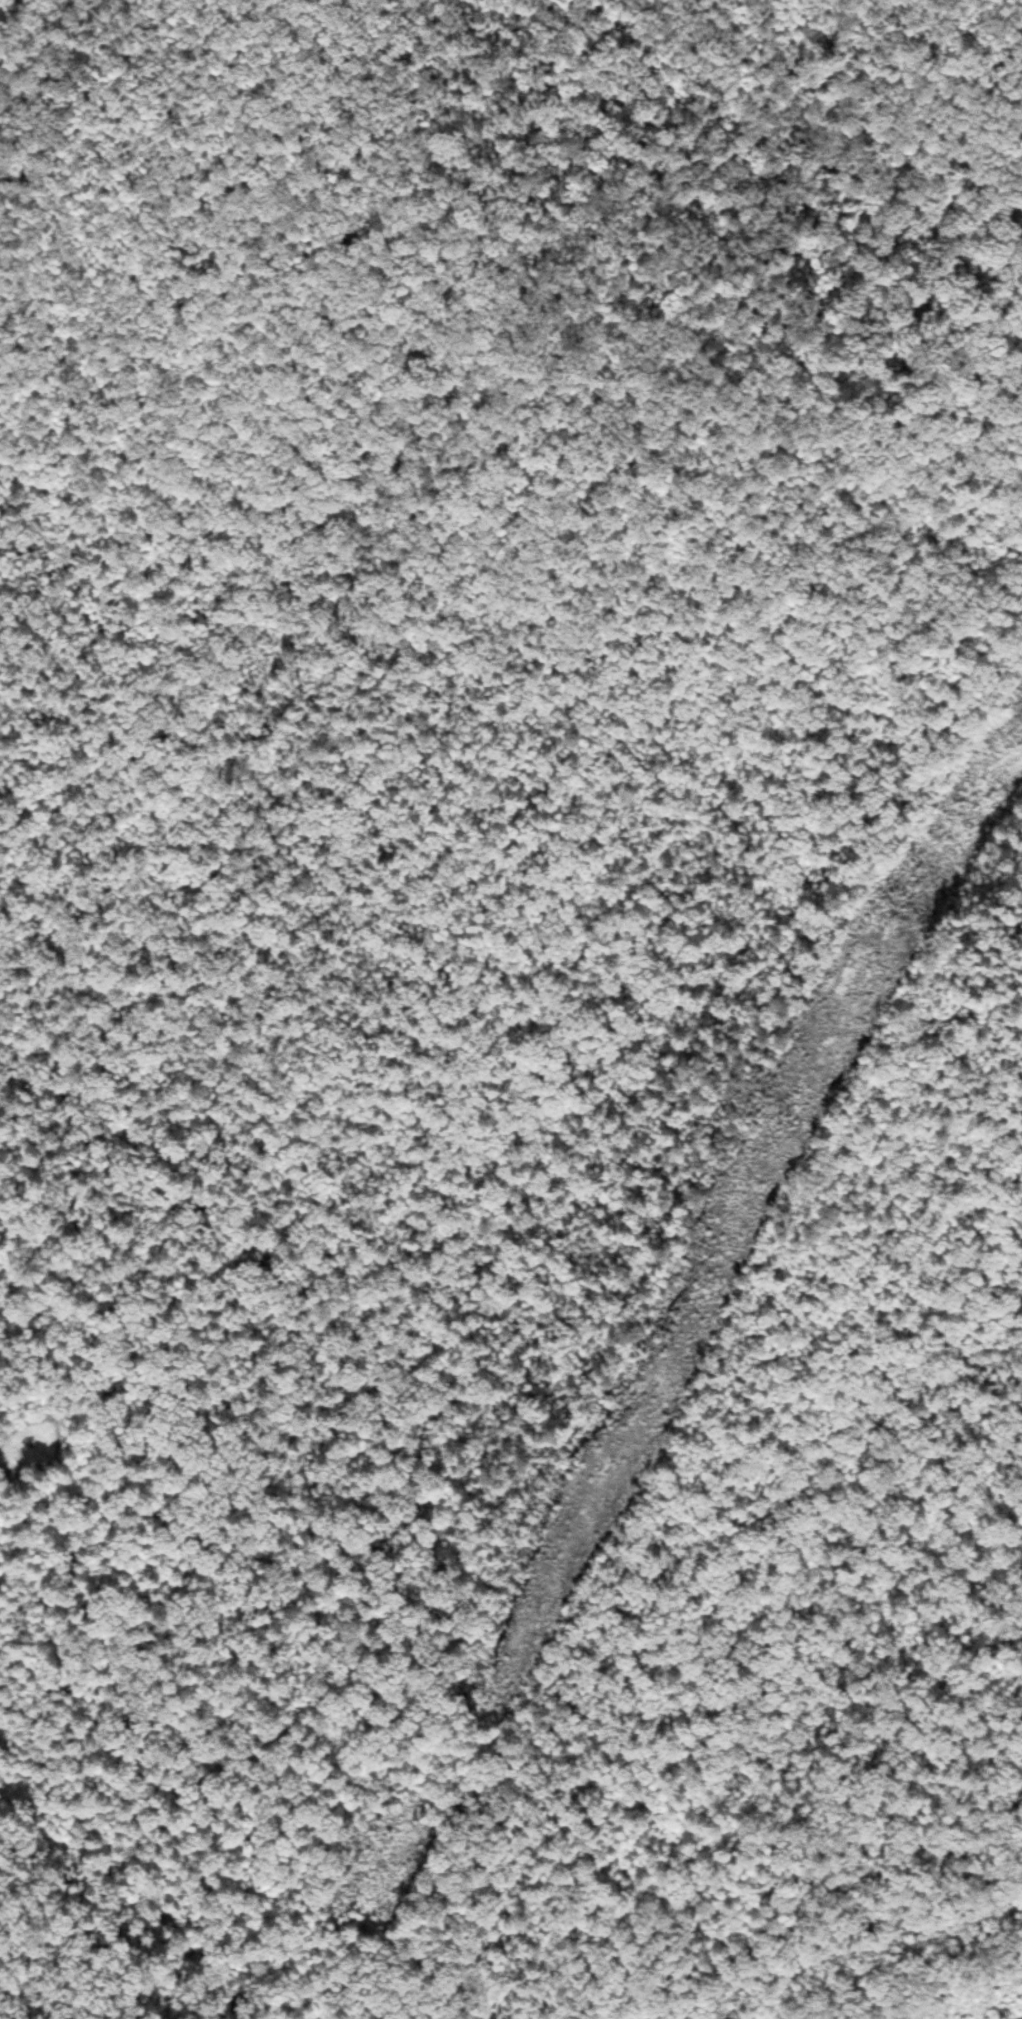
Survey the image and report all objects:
power tower: (877, 930)
road: (1021, 2018)

